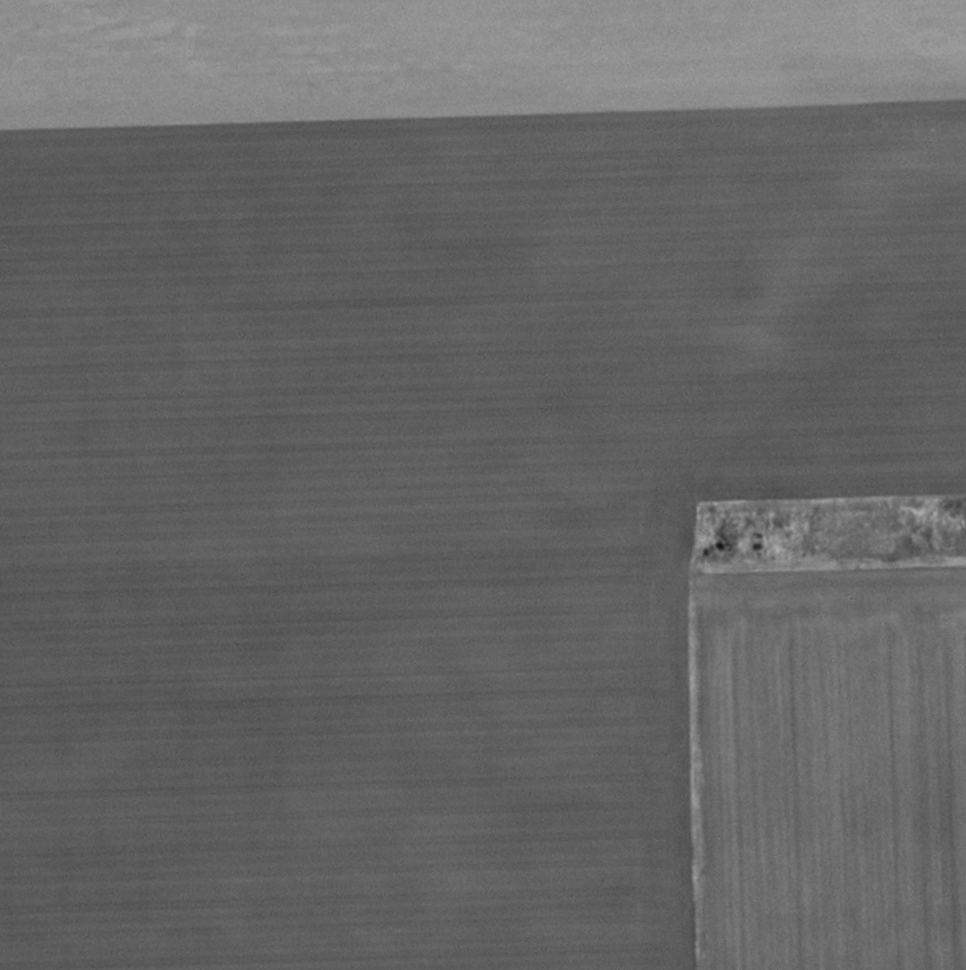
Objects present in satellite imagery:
building: (963, 519)

